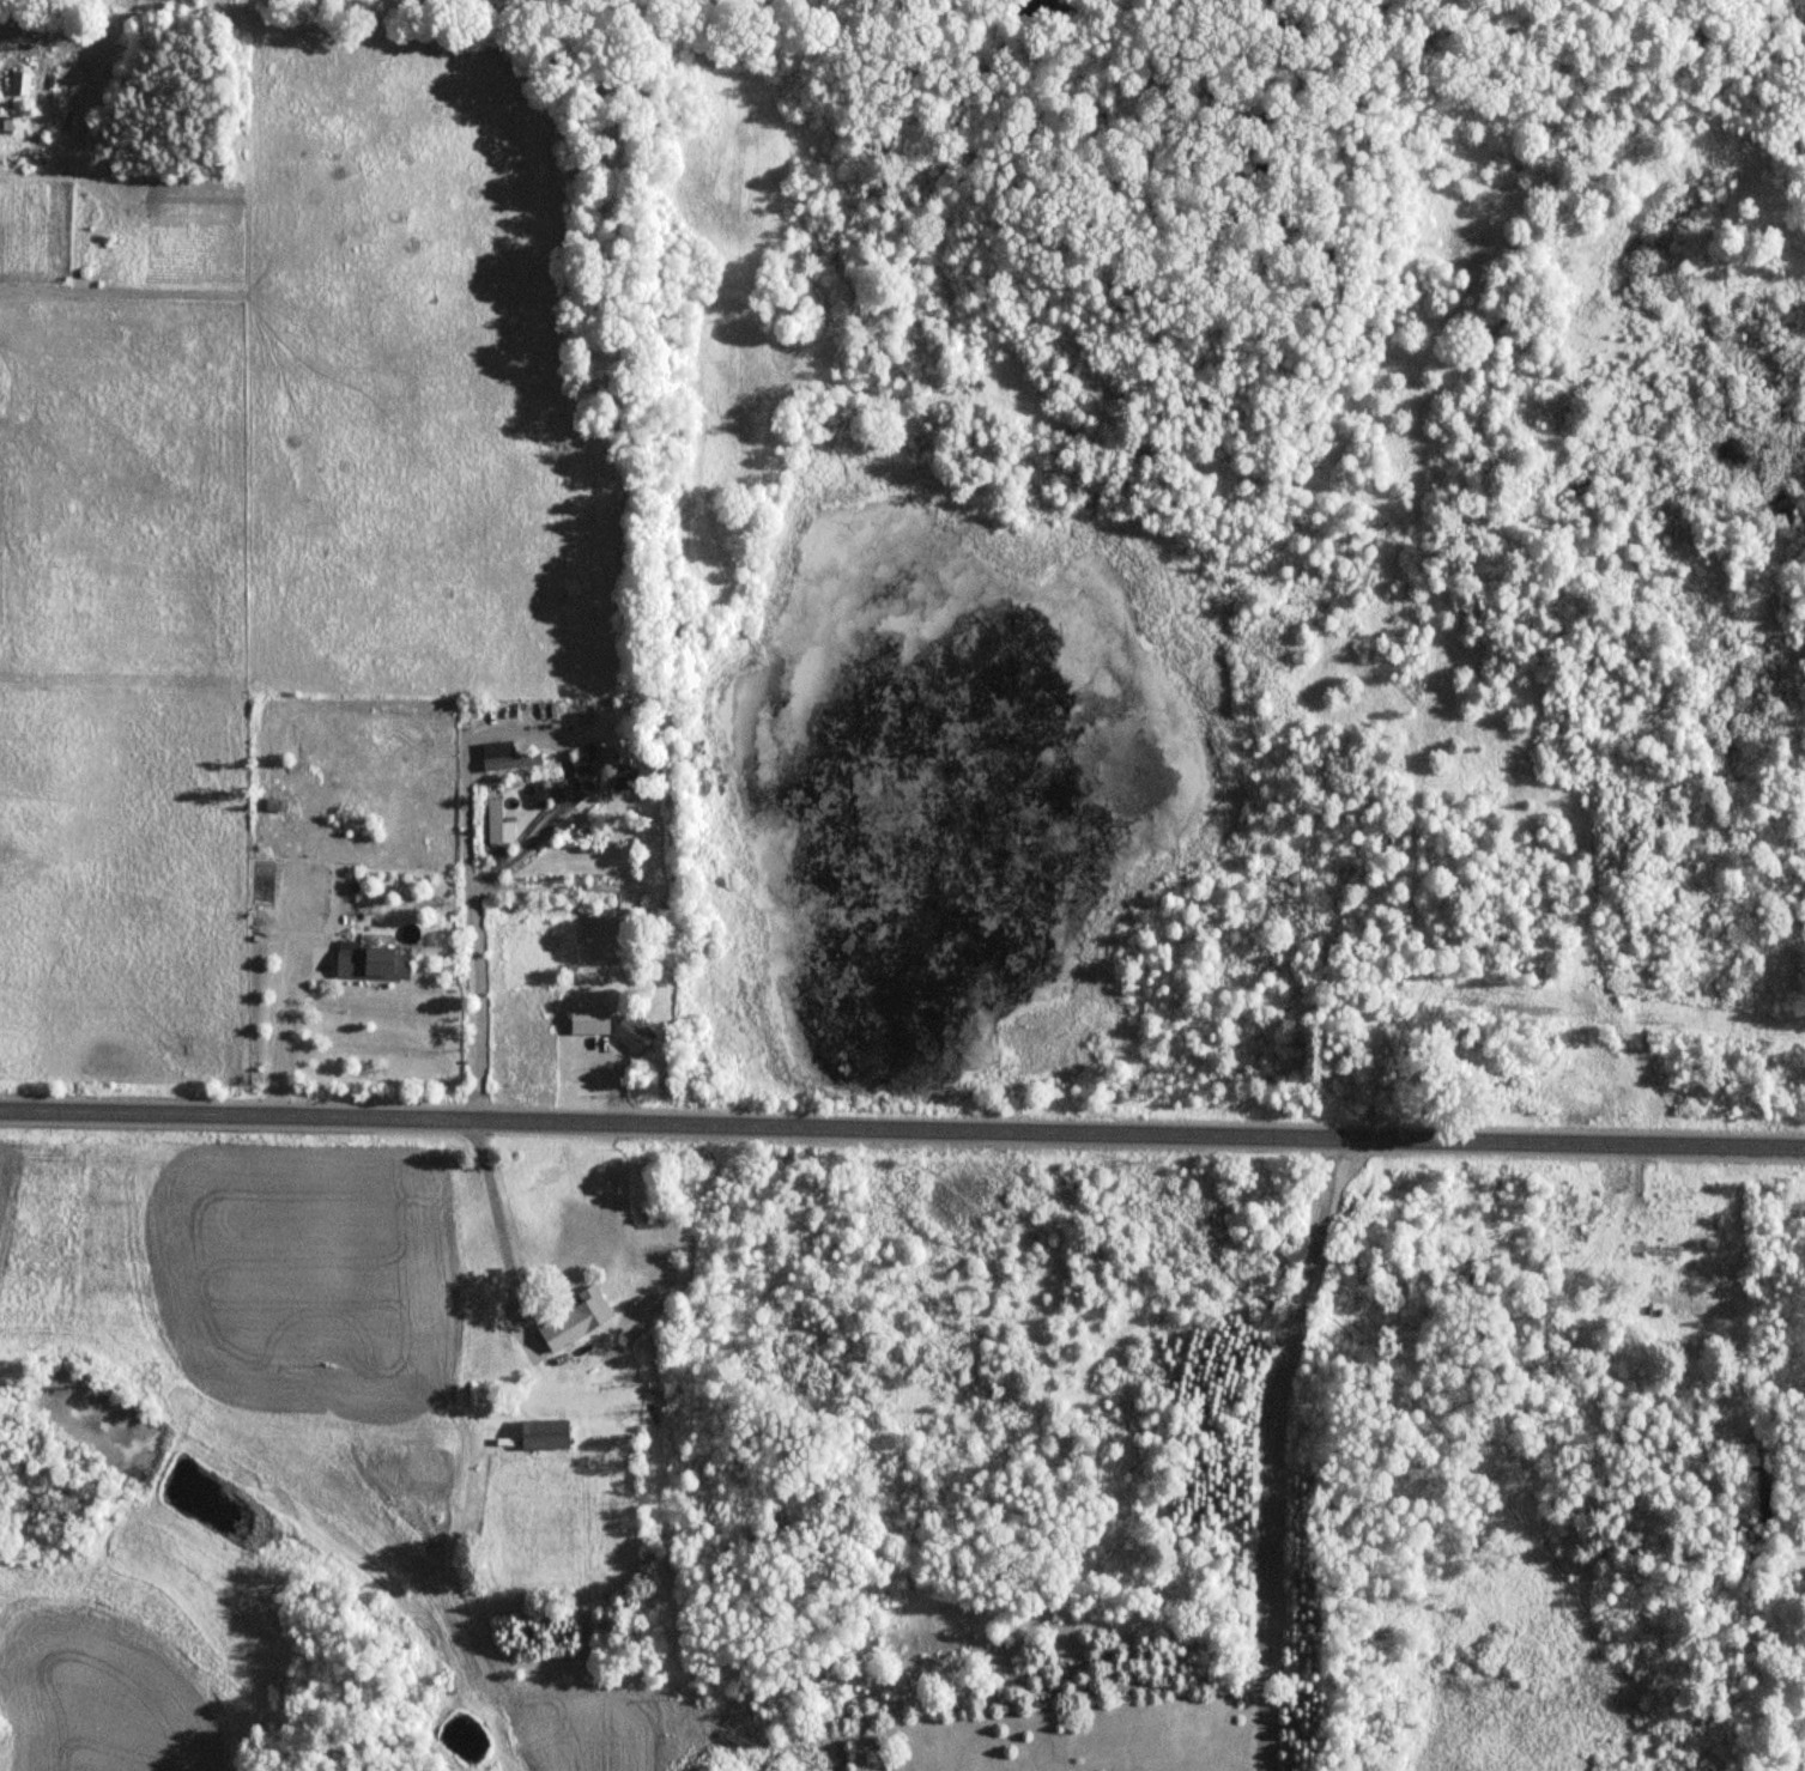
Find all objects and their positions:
building: (510, 762)
building: (596, 768)
building: (274, 805)
building: (493, 817)
road: (466, 934)
building: (371, 962)
building: (588, 1020)
building: (632, 1033)
road: (278, 1035)
road: (902, 1127)
building: (575, 1320)
building: (544, 1433)
road: (1268, 1454)

